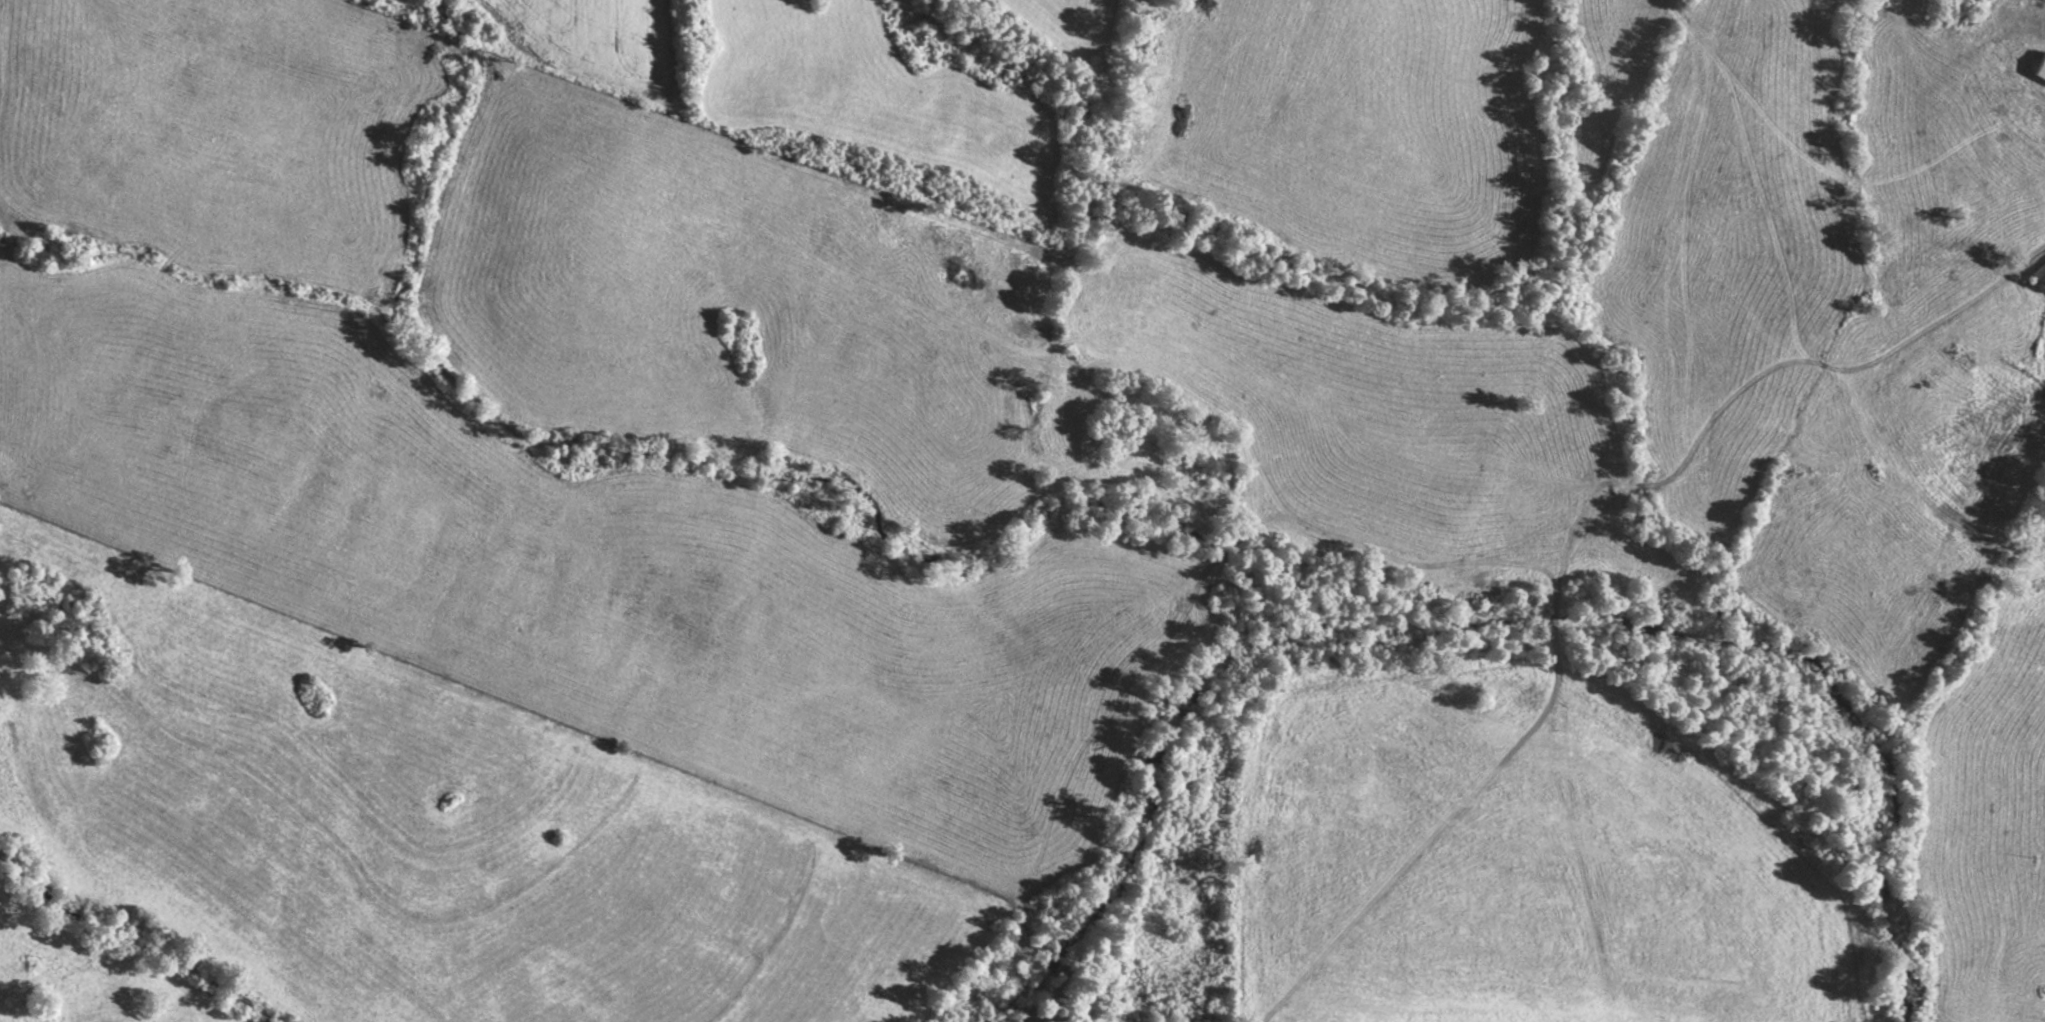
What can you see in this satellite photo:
building: (2039, 68)
building: (2039, 276)

